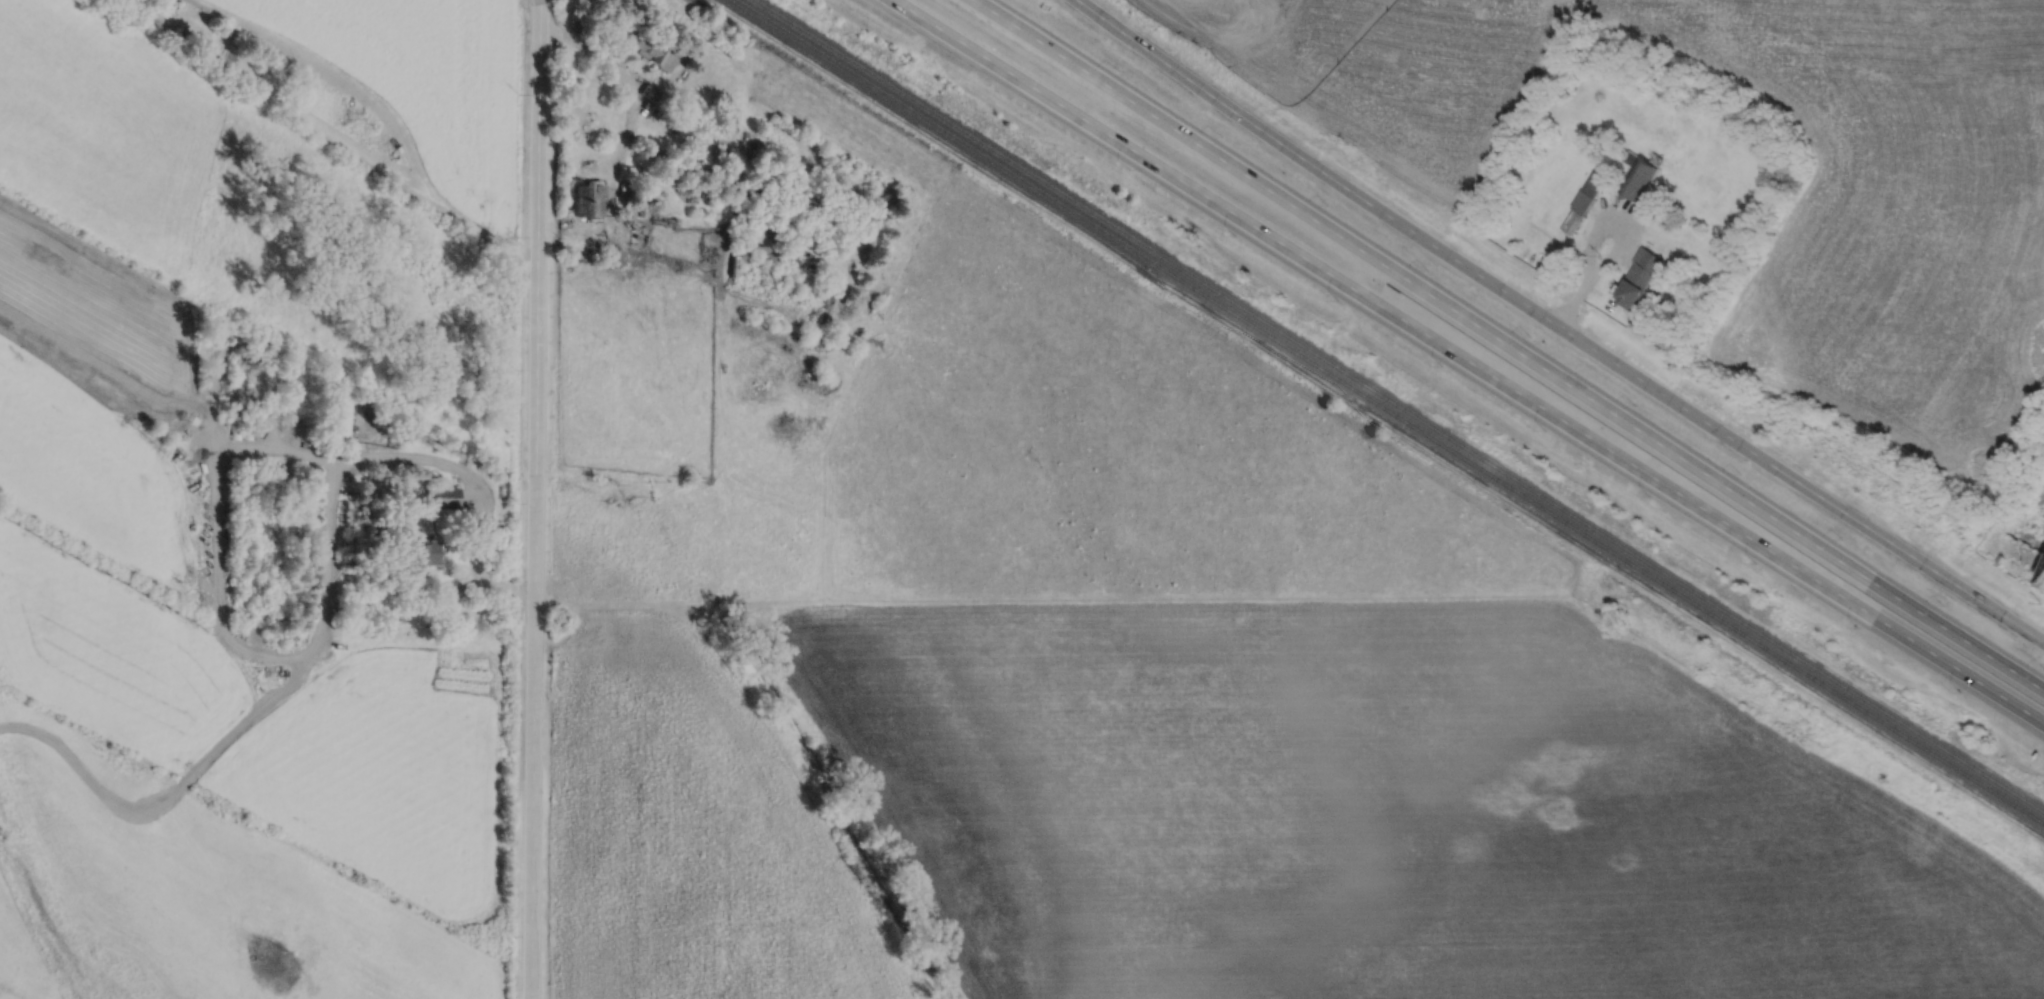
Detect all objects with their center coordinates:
building: (220, 56)
road: (618, 78)
building: (660, 82)
building: (1640, 178)
building: (1595, 182)
building: (589, 201)
building: (1582, 201)
building: (1572, 221)
road: (1590, 236)
building: (752, 250)
building: (1639, 279)
road: (1557, 326)
road: (1508, 345)
road: (1468, 361)
railway: (1397, 405)
railway: (1389, 411)
building: (337, 422)
building: (239, 430)
building: (250, 431)
road: (246, 448)
building: (446, 497)
road: (535, 499)
building: (417, 554)
road: (257, 654)

